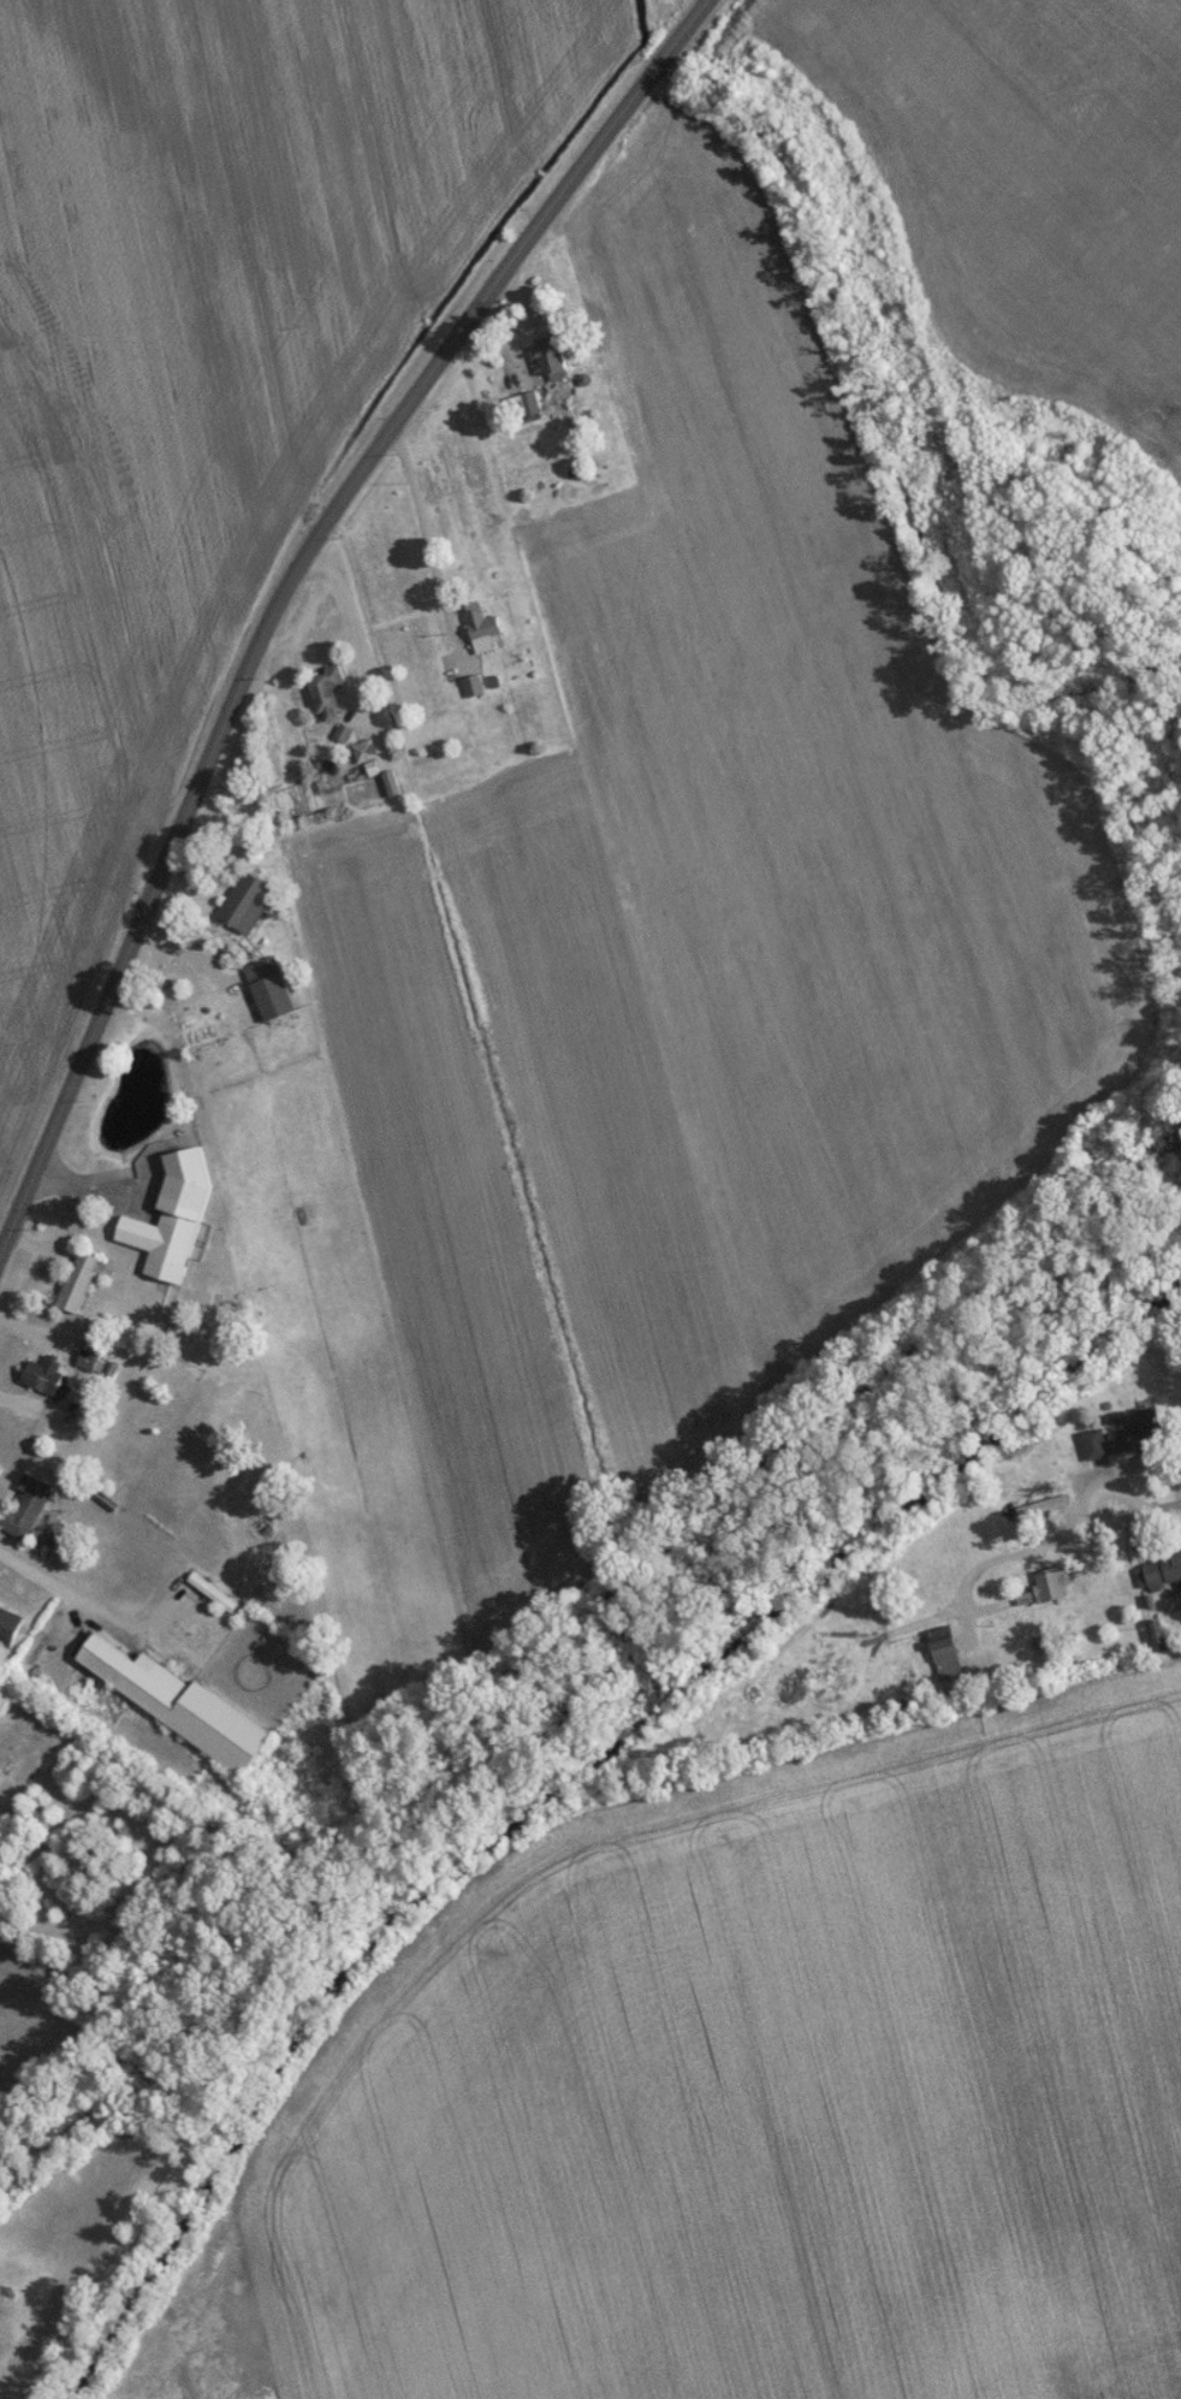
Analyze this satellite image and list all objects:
road: (427, 543)
road: (285, 590)
road: (352, 629)
road: (1078, 1540)
road: (42, 1582)
crop: (749, 2099)

